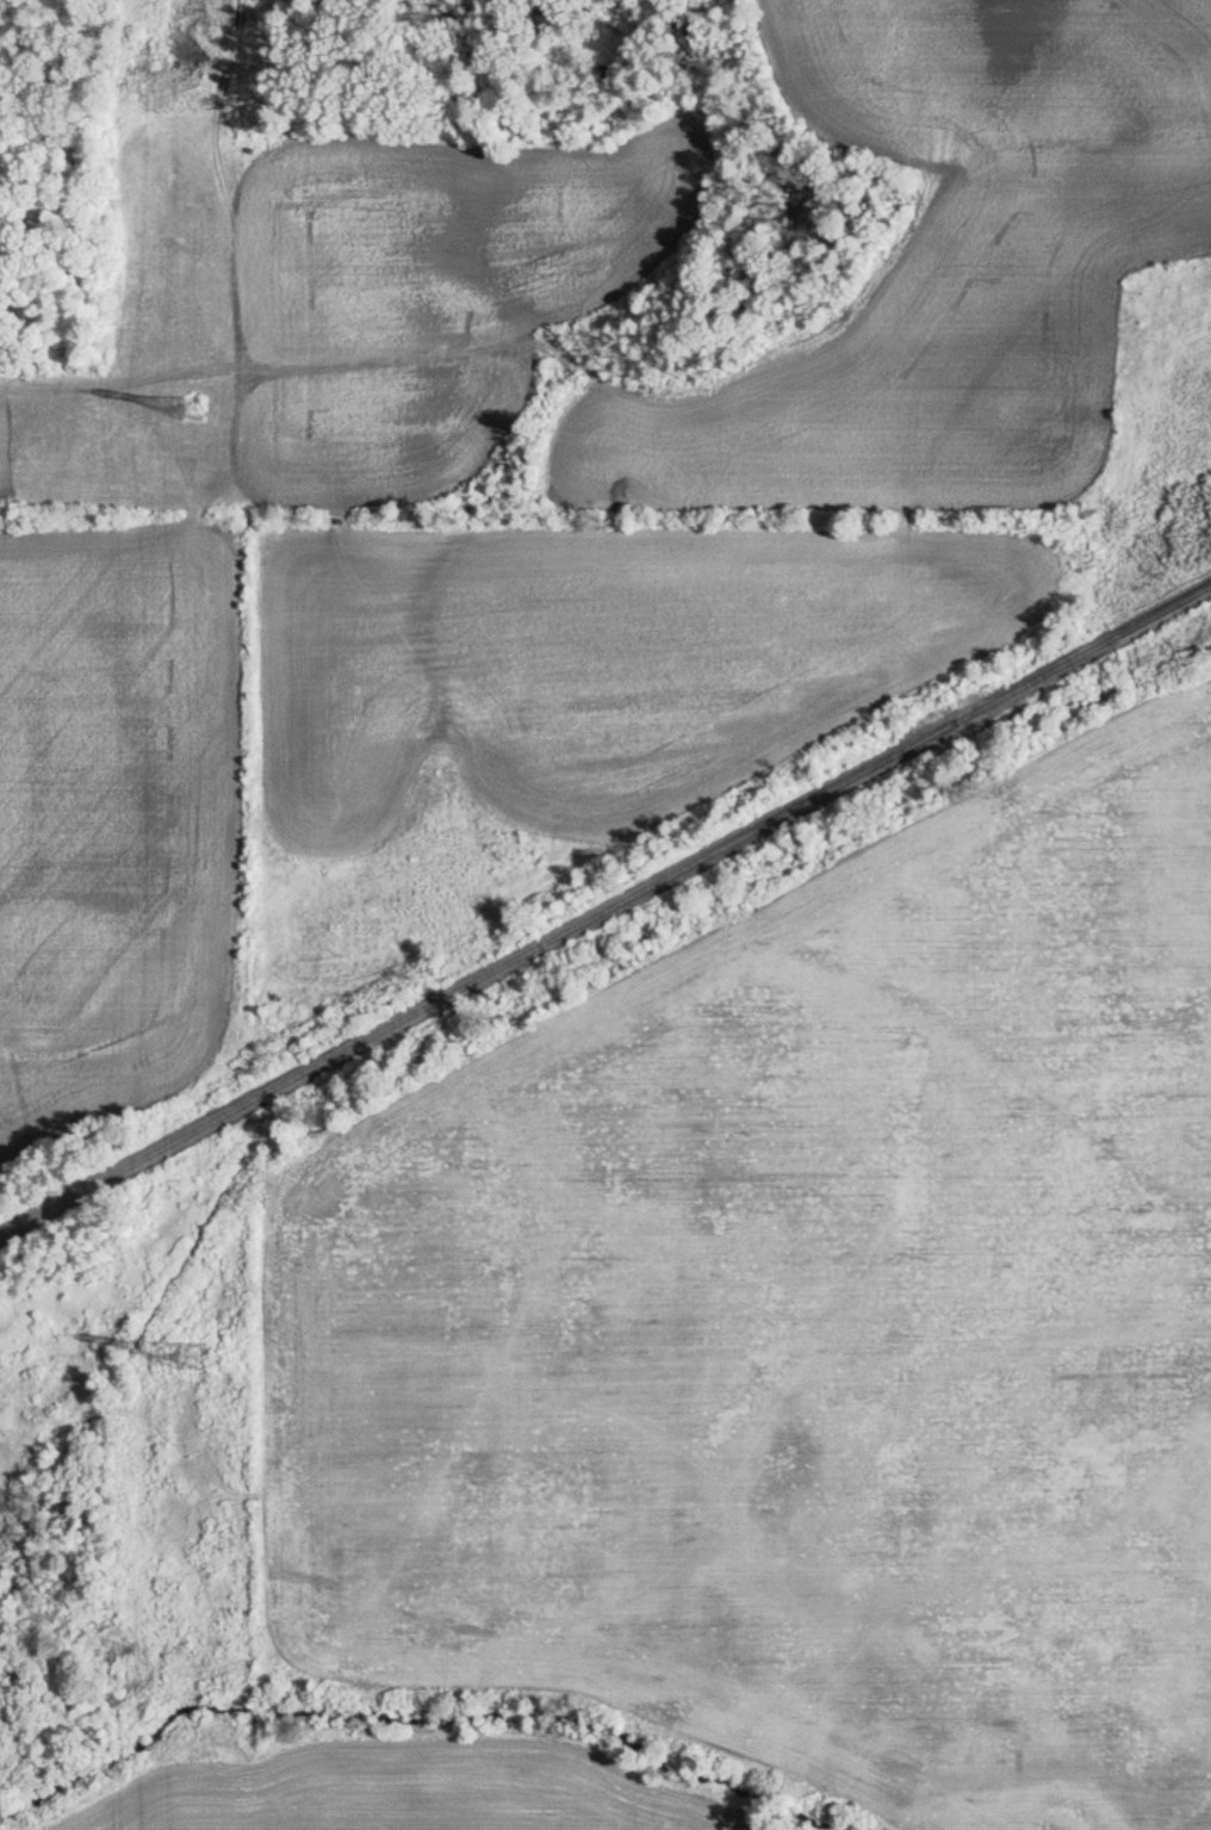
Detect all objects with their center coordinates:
power tower: (198, 407)
railway: (605, 913)
power tower: (198, 1359)

